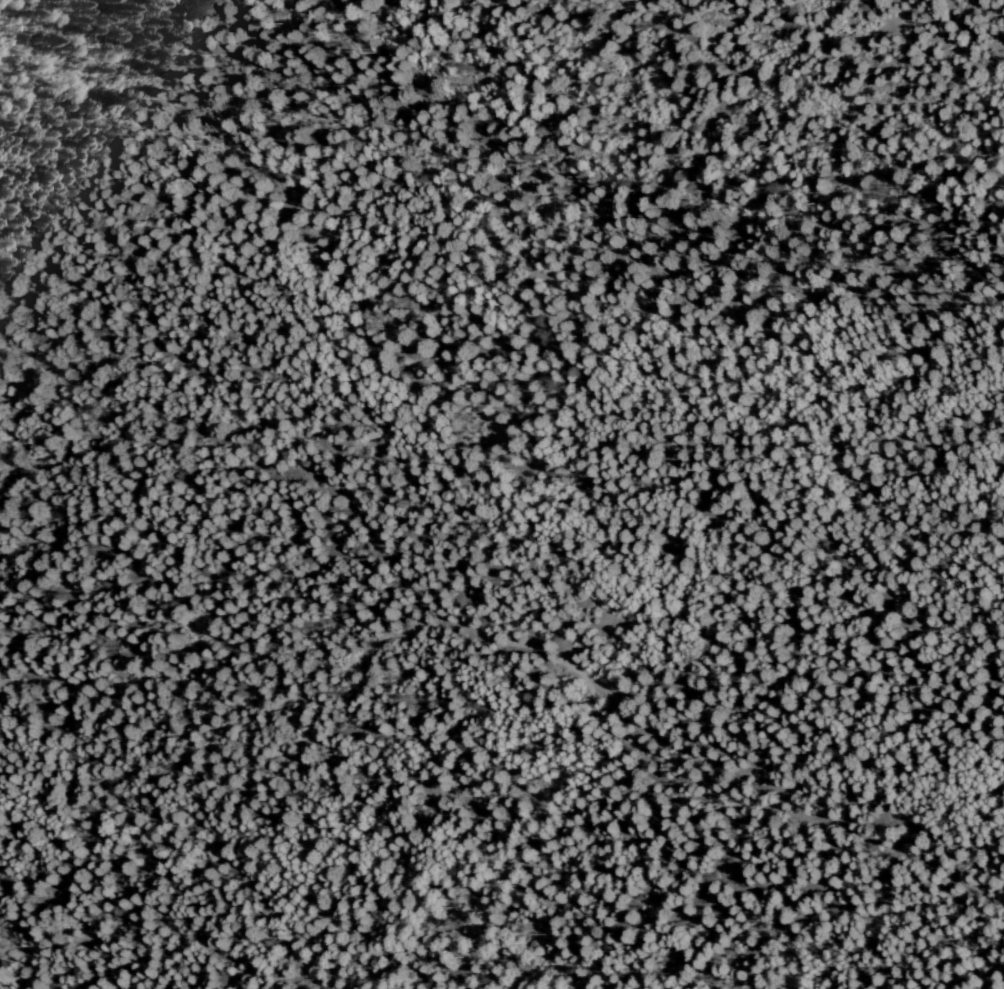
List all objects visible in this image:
road: (465, 626)

